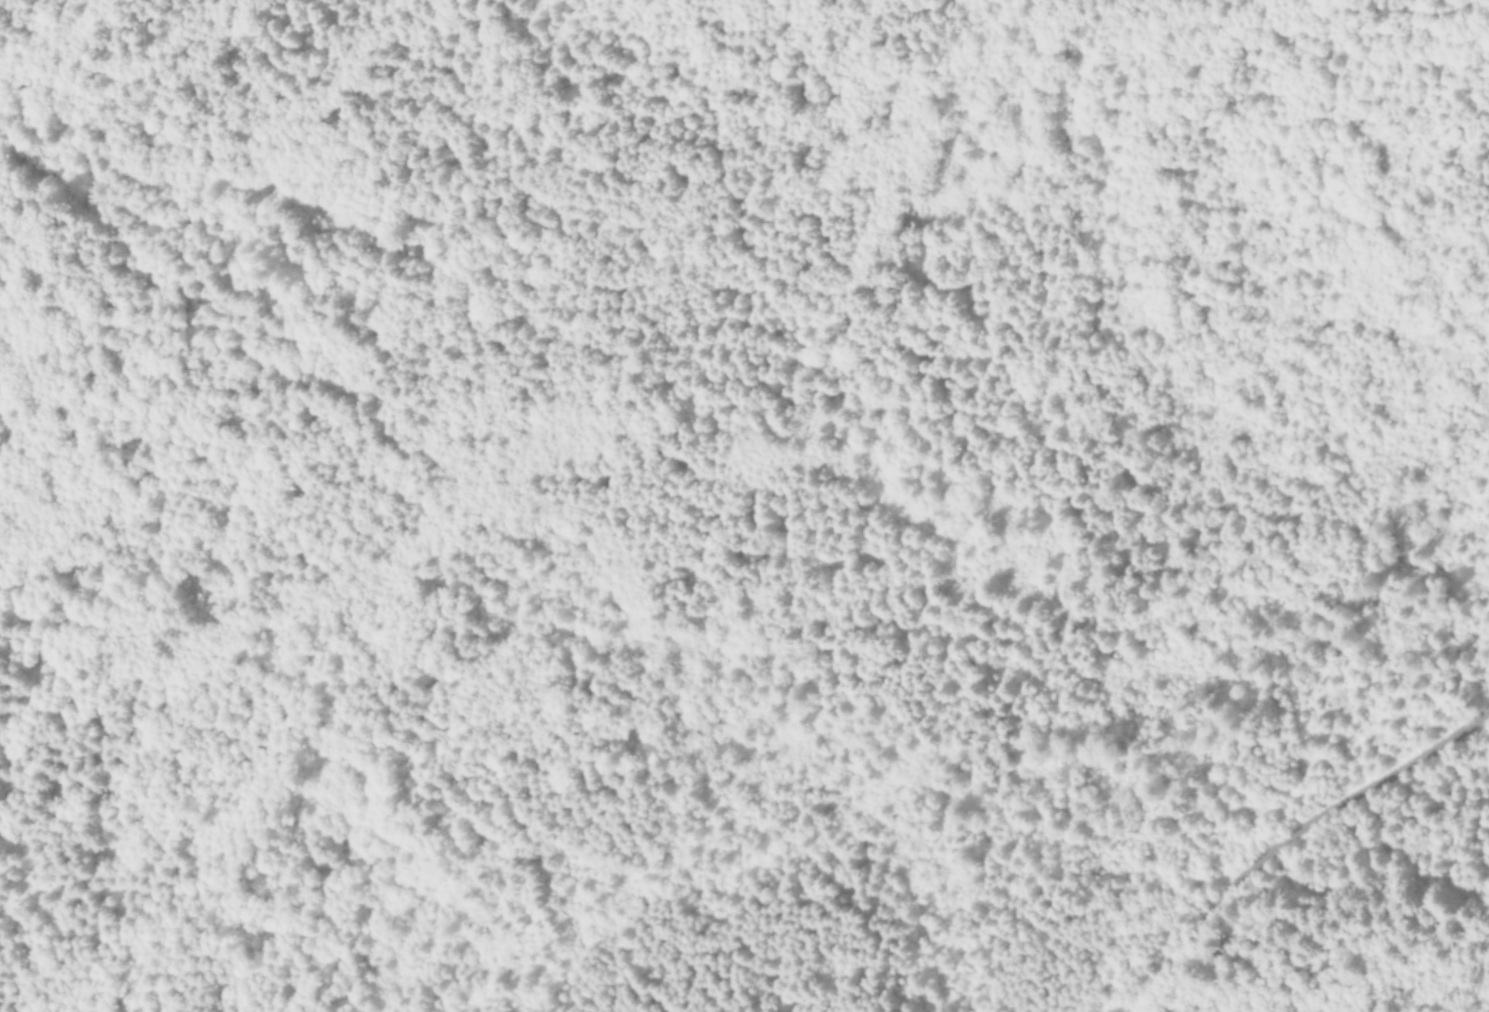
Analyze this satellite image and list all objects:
road: (1289, 841)

